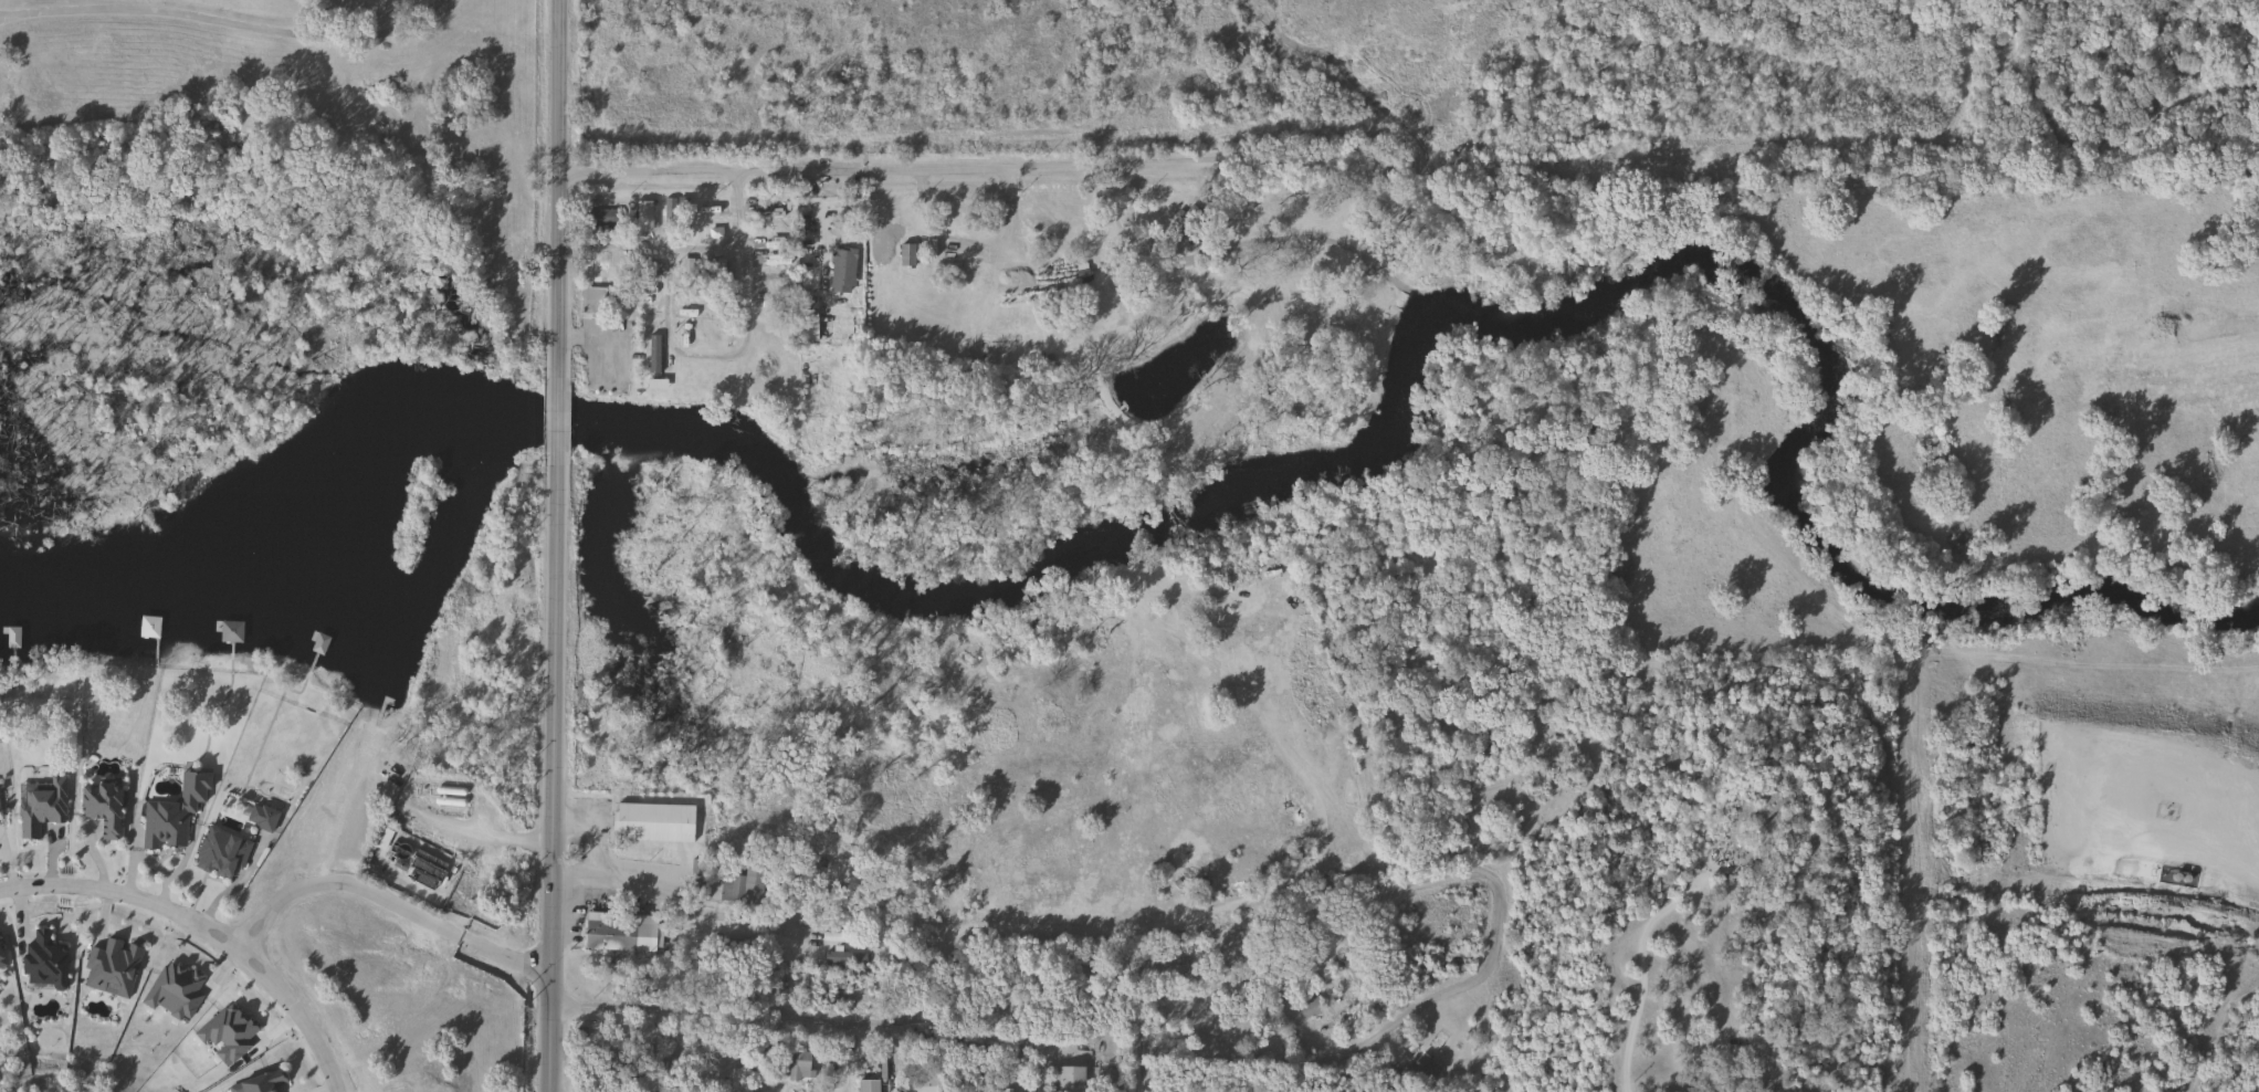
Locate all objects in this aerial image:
road: (223, 21)
road: (988, 153)
road: (555, 189)
building: (668, 216)
building: (597, 218)
building: (1181, 223)
road: (616, 244)
building: (903, 255)
building: (839, 270)
building: (593, 277)
building: (1036, 288)
building: (806, 327)
road: (723, 356)
building: (649, 358)
road: (555, 421)
building: (228, 632)
building: (1326, 710)
road: (549, 778)
building: (1756, 800)
building: (40, 804)
building: (98, 806)
building: (161, 822)
building: (650, 822)
road: (473, 829)
building: (218, 851)
road: (1, 868)
building: (1750, 875)
building: (737, 888)
road: (391, 904)
building: (1447, 906)
road: (219, 912)
building: (848, 921)
road: (1643, 924)
building: (1272, 927)
building: (606, 932)
building: (841, 937)
building: (844, 957)
building: (41, 959)
building: (0, 963)
road: (1091, 983)
building: (1307, 1007)
road: (1366, 1027)
road: (1503, 1027)
building: (966, 1048)
building: (796, 1062)
building: (1418, 1069)
building: (1064, 1079)
building: (259, 1081)
building: (922, 1083)
building: (865, 1085)
building: (1663, 1091)

